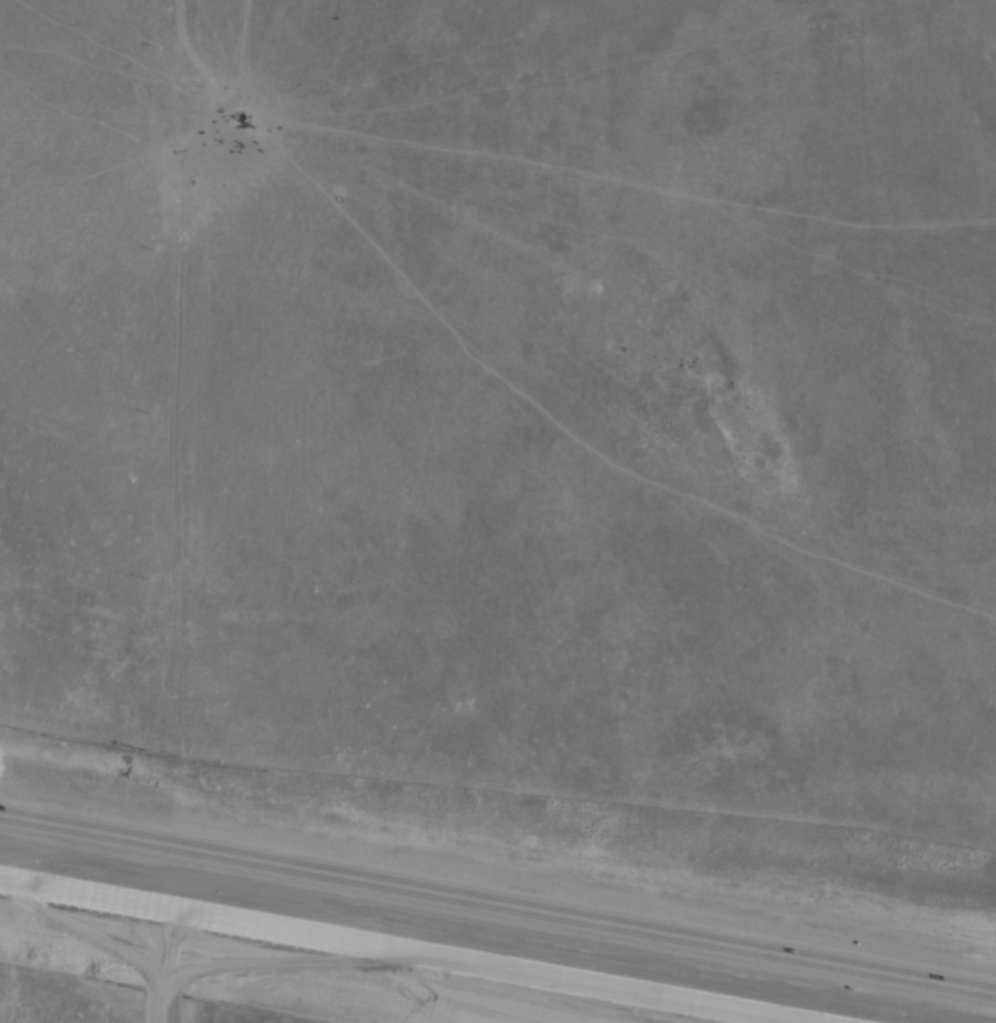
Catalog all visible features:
road: (498, 902)
road: (408, 949)

